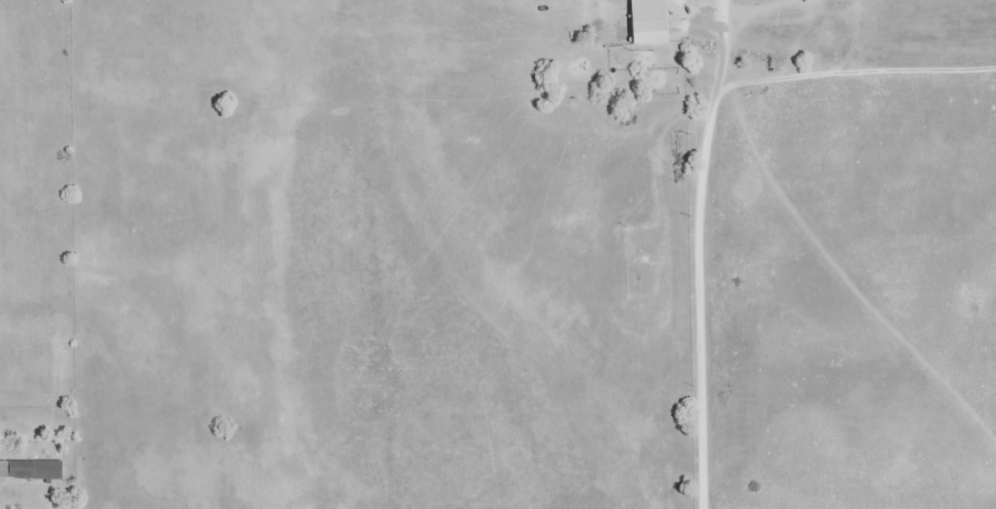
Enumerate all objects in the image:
building: (645, 21)
road: (819, 72)
road: (695, 291)
building: (30, 467)

